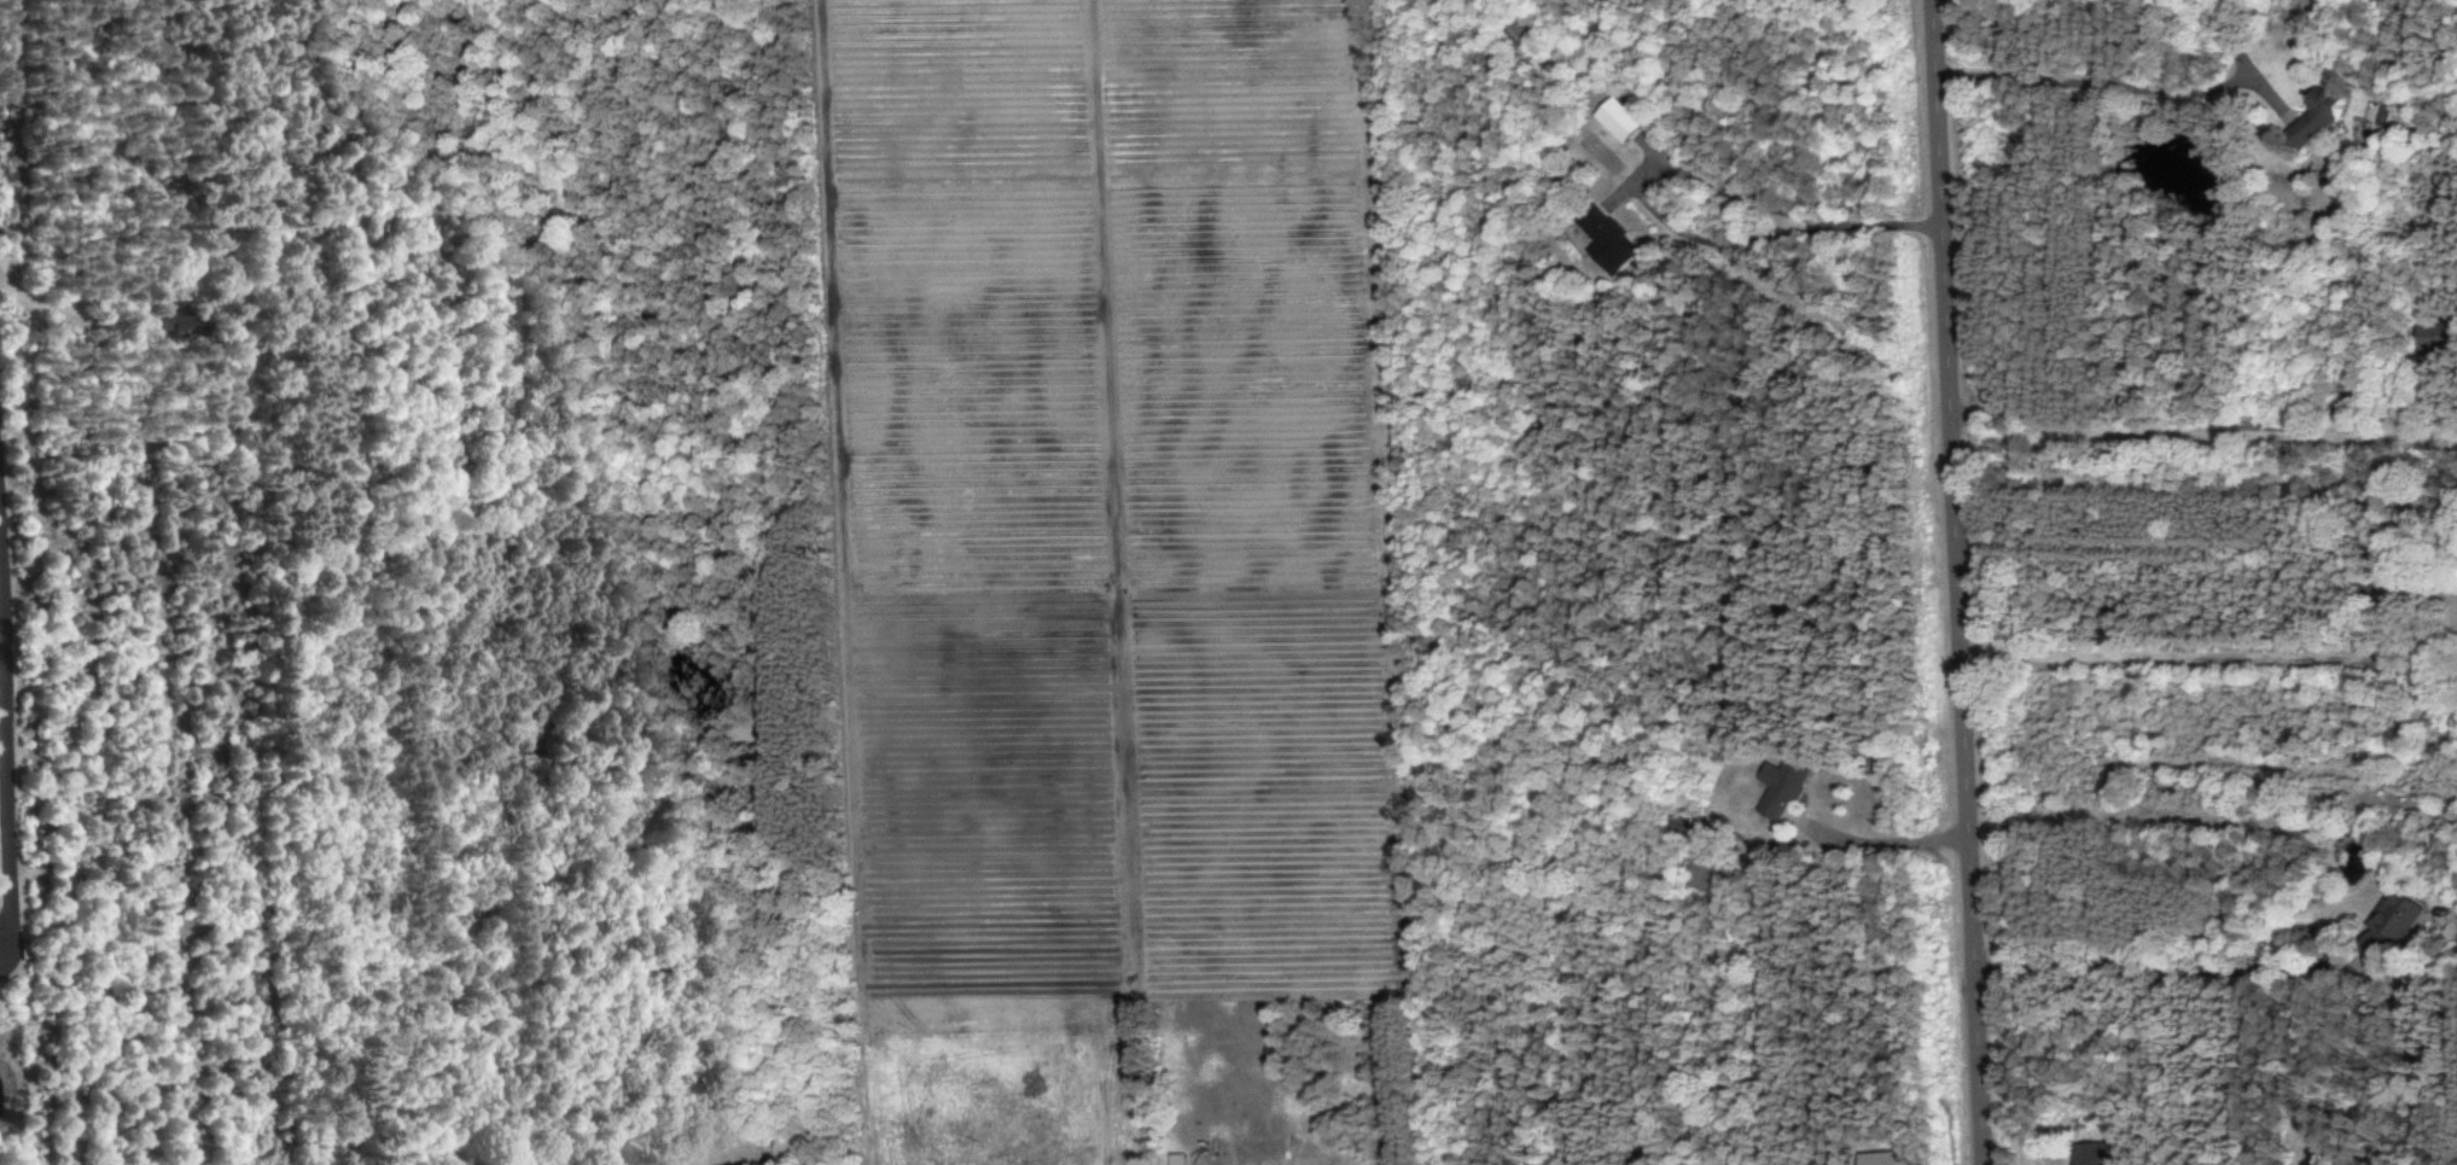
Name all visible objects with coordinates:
building: (1518, 35)
road: (2091, 70)
building: (2312, 117)
building: (1617, 118)
road: (1758, 206)
building: (1606, 240)
road: (58, 313)
building: (2432, 336)
road: (2200, 427)
road: (1951, 582)
road: (2156, 657)
road: (5, 740)
building: (1778, 788)
road: (1881, 841)
road: (286, 872)
building: (1702, 873)
building: (2388, 924)
road: (2150, 960)
building: (2089, 1153)
building: (1877, 1158)
building: (1174, 1159)

